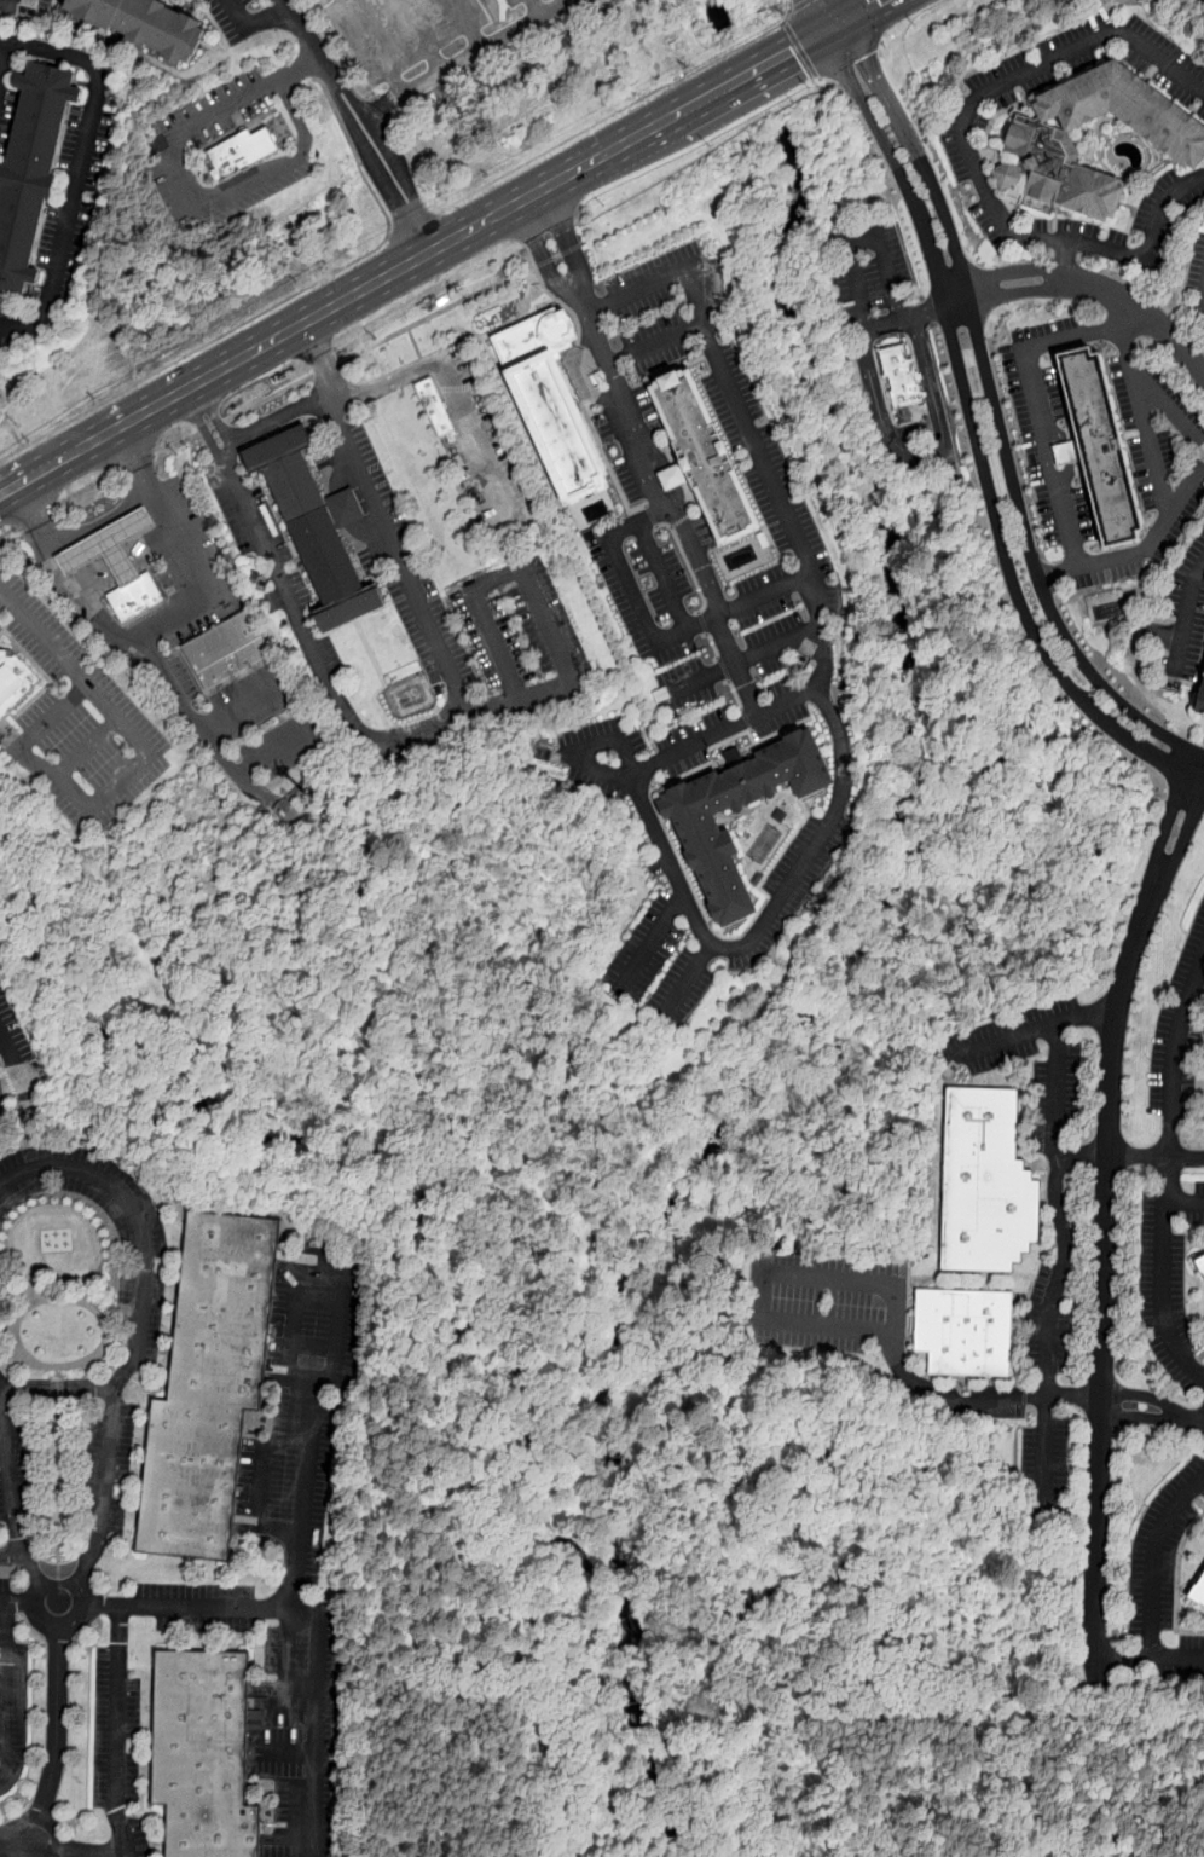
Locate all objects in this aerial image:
parking lot: (22, 7)
road: (800, 7)
road: (532, 8)
road: (828, 11)
road: (855, 11)
parking lot: (233, 18)
road: (253, 18)
building: (146, 23)
road: (467, 23)
traffic signals: (834, 23)
road: (302, 29)
road: (421, 35)
parking lot: (433, 35)
road: (4, 44)
road: (371, 46)
road: (800, 51)
road: (467, 56)
road: (4, 62)
road: (866, 62)
parking lot: (1093, 63)
road: (754, 69)
road: (343, 85)
road: (997, 85)
road: (336, 91)
parking lot: (5, 111)
road: (614, 114)
road: (632, 138)
building: (1038, 139)
parking lot: (169, 147)
building: (242, 150)
road: (388, 150)
road: (914, 151)
road: (79, 169)
building: (33, 170)
road: (181, 179)
parking lot: (980, 180)
road: (388, 189)
parking lot: (1167, 213)
road: (426, 216)
road: (412, 224)
parking lot: (64, 226)
road: (864, 232)
road: (567, 239)
road: (1150, 247)
road: (955, 250)
road: (540, 254)
road: (558, 255)
road: (1061, 259)
parking lot: (868, 268)
parking lot: (1197, 273)
road: (998, 277)
road: (1017, 295)
road: (959, 305)
road: (273, 307)
road: (1139, 307)
road: (930, 308)
road: (1115, 313)
road: (438, 314)
road: (890, 319)
road: (295, 328)
road: (1136, 329)
road: (653, 345)
parking lot: (654, 348)
road: (326, 369)
building: (901, 381)
road: (456, 393)
road: (1158, 397)
road: (270, 398)
building: (551, 401)
road: (1036, 404)
building: (435, 407)
road: (274, 417)
parking lot: (1048, 426)
road: (212, 427)
road: (11, 429)
road: (976, 434)
road: (1150, 442)
road: (178, 444)
building: (1096, 446)
parking lot: (480, 453)
building: (706, 456)
road: (138, 458)
road: (924, 458)
parking lot: (1150, 468)
road: (672, 472)
road: (88, 487)
parking lot: (782, 507)
parking lot: (248, 513)
road: (36, 517)
road: (383, 519)
road: (97, 523)
road: (0, 525)
building: (314, 528)
road: (2, 531)
parking lot: (702, 531)
road: (7, 533)
road: (1140, 550)
parking lot: (395, 553)
road: (1034, 566)
road: (664, 573)
building: (135, 595)
road: (4, 597)
parking lot: (1185, 614)
road: (1185, 615)
road: (158, 618)
parking lot: (0, 629)
road: (654, 637)
parking lot: (523, 641)
building: (226, 650)
road: (740, 661)
parking lot: (729, 665)
road: (821, 669)
building: (16, 679)
building: (1200, 698)
parking lot: (253, 699)
parking lot: (80, 722)
road: (196, 723)
parking lot: (729, 727)
road: (421, 728)
road: (34, 730)
parking lot: (288, 745)
road: (575, 750)
road: (146, 752)
parking lot: (606, 757)
road: (253, 763)
road: (256, 787)
building: (691, 822)
parking lot: (672, 915)
road: (652, 942)
road: (710, 948)
road: (687, 982)
parking lot: (11, 1032)
parking lot: (1179, 1037)
road: (1003, 1039)
road: (1174, 1052)
road: (17, 1066)
parking lot: (1057, 1072)
parking lot: (1, 1099)
road: (29, 1124)
road: (1111, 1155)
road: (1186, 1156)
building: (984, 1181)
road: (1185, 1201)
road: (1102, 1202)
road: (1065, 1236)
parking lot: (151, 1255)
building: (1203, 1255)
building: (1202, 1262)
road: (1163, 1273)
parking lot: (1169, 1284)
road: (764, 1295)
parking lot: (827, 1302)
road: (138, 1321)
parking lot: (1048, 1323)
building: (963, 1330)
road: (326, 1381)
building: (212, 1384)
road: (59, 1387)
road: (953, 1396)
parking lot: (1203, 1402)
road: (1152, 1411)
parking lot: (1047, 1462)
parking lot: (108, 1463)
parking lot: (15, 1466)
road: (12, 1485)
road: (261, 1486)
parking lot: (1162, 1550)
road: (10, 1555)
road: (1154, 1557)
parking lot: (291, 1558)
road: (77, 1581)
building: (1199, 1591)
road: (16, 1597)
road: (103, 1604)
parking lot: (6, 1613)
road: (318, 1632)
road: (1122, 1658)
parking lot: (1170, 1658)
road: (1176, 1658)
road: (10, 1684)
road: (290, 1703)
parking lot: (12, 1712)
road: (115, 1731)
parking lot: (116, 1731)
road: (283, 1751)
building: (206, 1753)
road: (56, 1757)
parking lot: (128, 1834)
road: (77, 1851)

